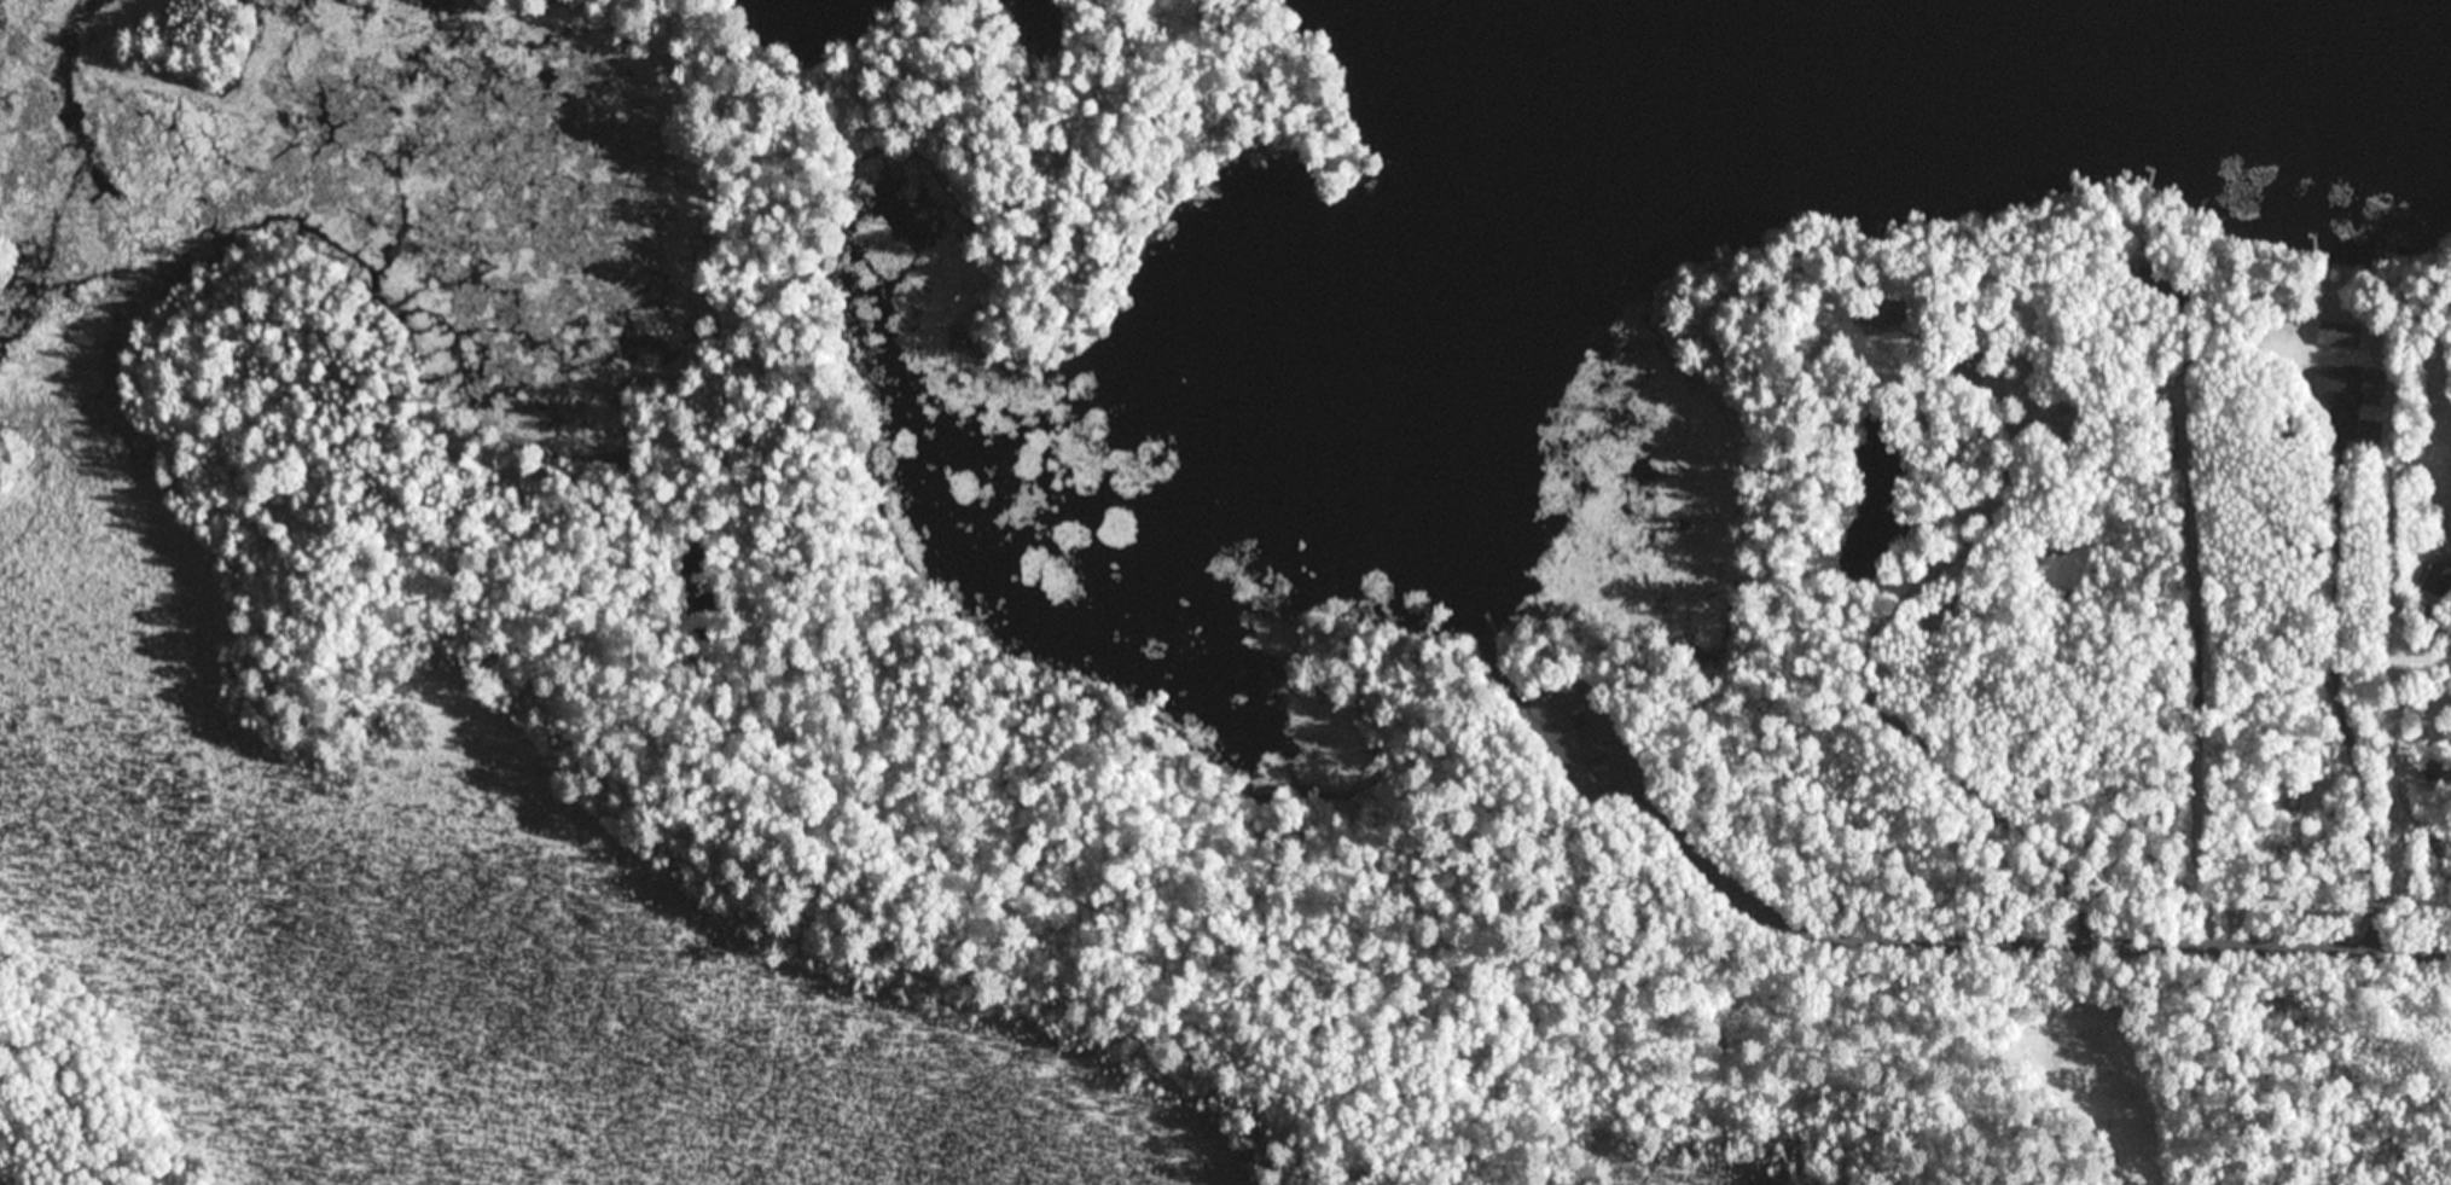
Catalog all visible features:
building: (2163, 286)
building: (1886, 312)
building: (2339, 335)
building: (1982, 337)
building: (2376, 391)
building: (2054, 431)
building: (2370, 432)
building: (2172, 440)
building: (2439, 576)
building: (2423, 617)
road: (2339, 667)
road: (2201, 670)
road: (1869, 681)
parking lot: (1581, 727)
building: (2433, 767)
road: (1601, 788)
road: (2016, 935)

